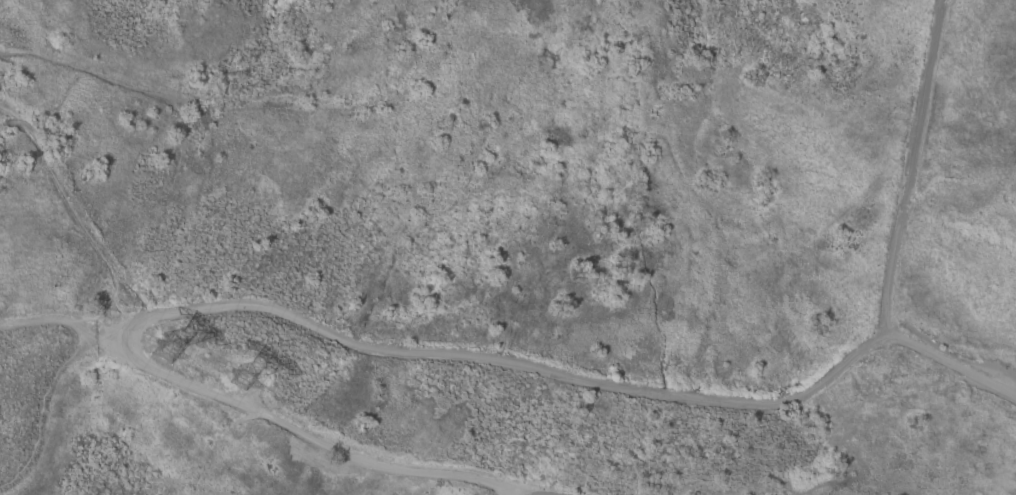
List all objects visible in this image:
power tower: (164, 347)
road: (953, 364)
power tower: (233, 371)

